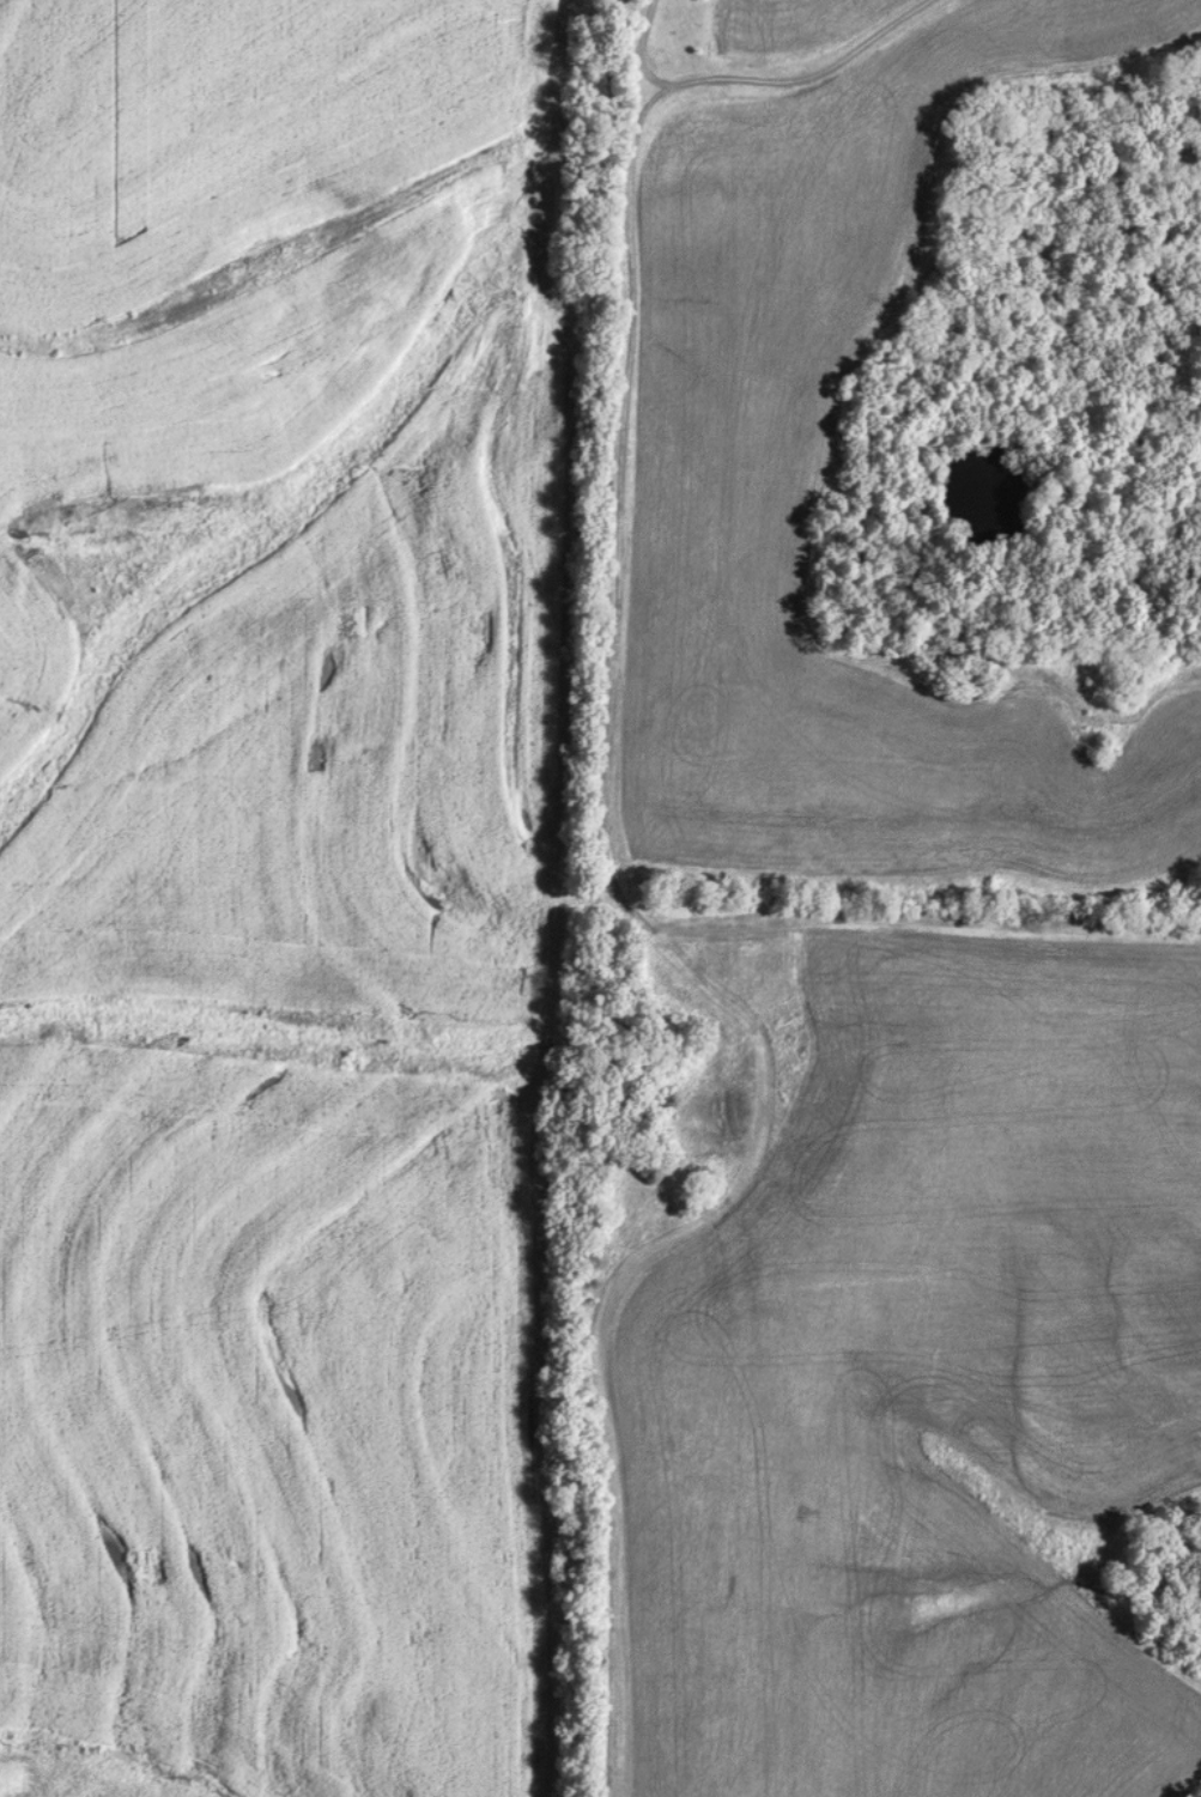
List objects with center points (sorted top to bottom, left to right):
road: (608, 831)

